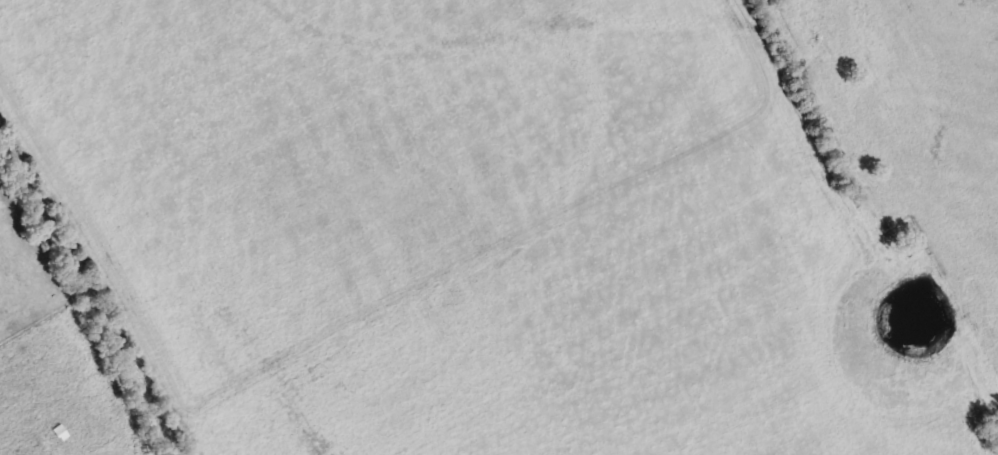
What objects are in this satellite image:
building: (56, 431)

